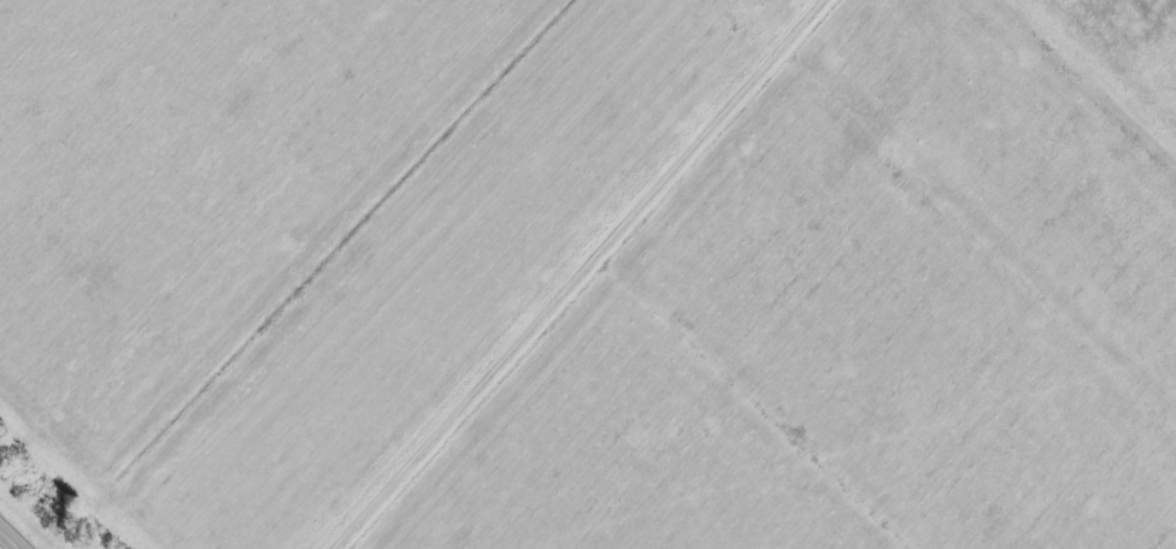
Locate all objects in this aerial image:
road: (1106, 66)
road: (575, 274)
road: (11, 538)

